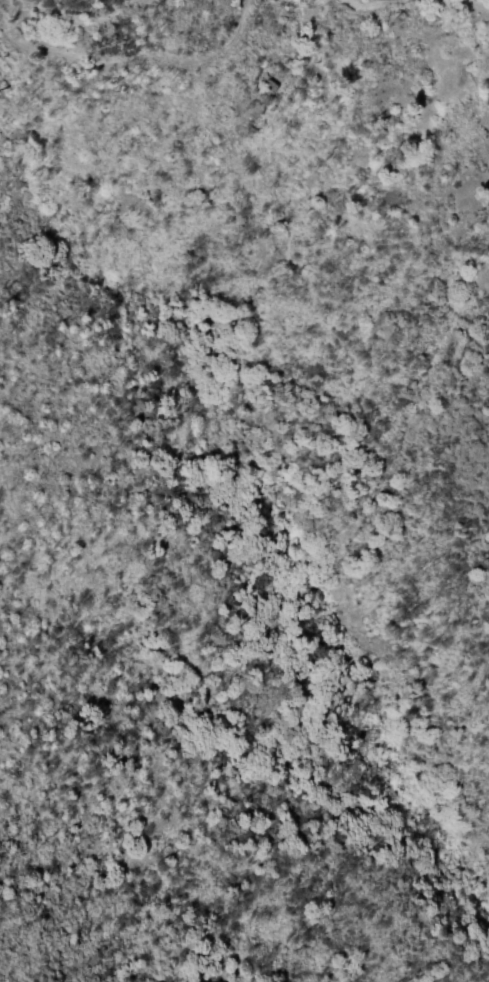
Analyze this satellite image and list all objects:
road: (157, 33)

